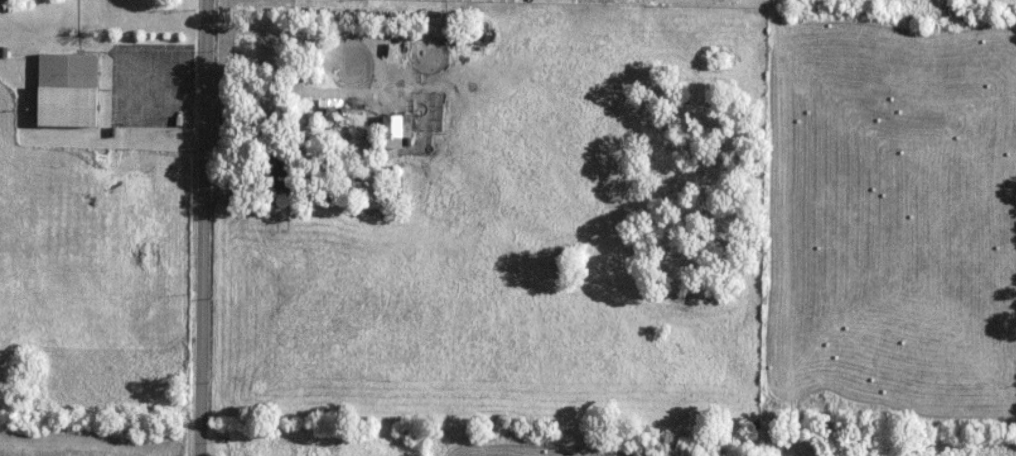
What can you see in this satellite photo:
building: (67, 91)
road: (289, 92)
building: (396, 131)
building: (368, 189)
road: (202, 227)

